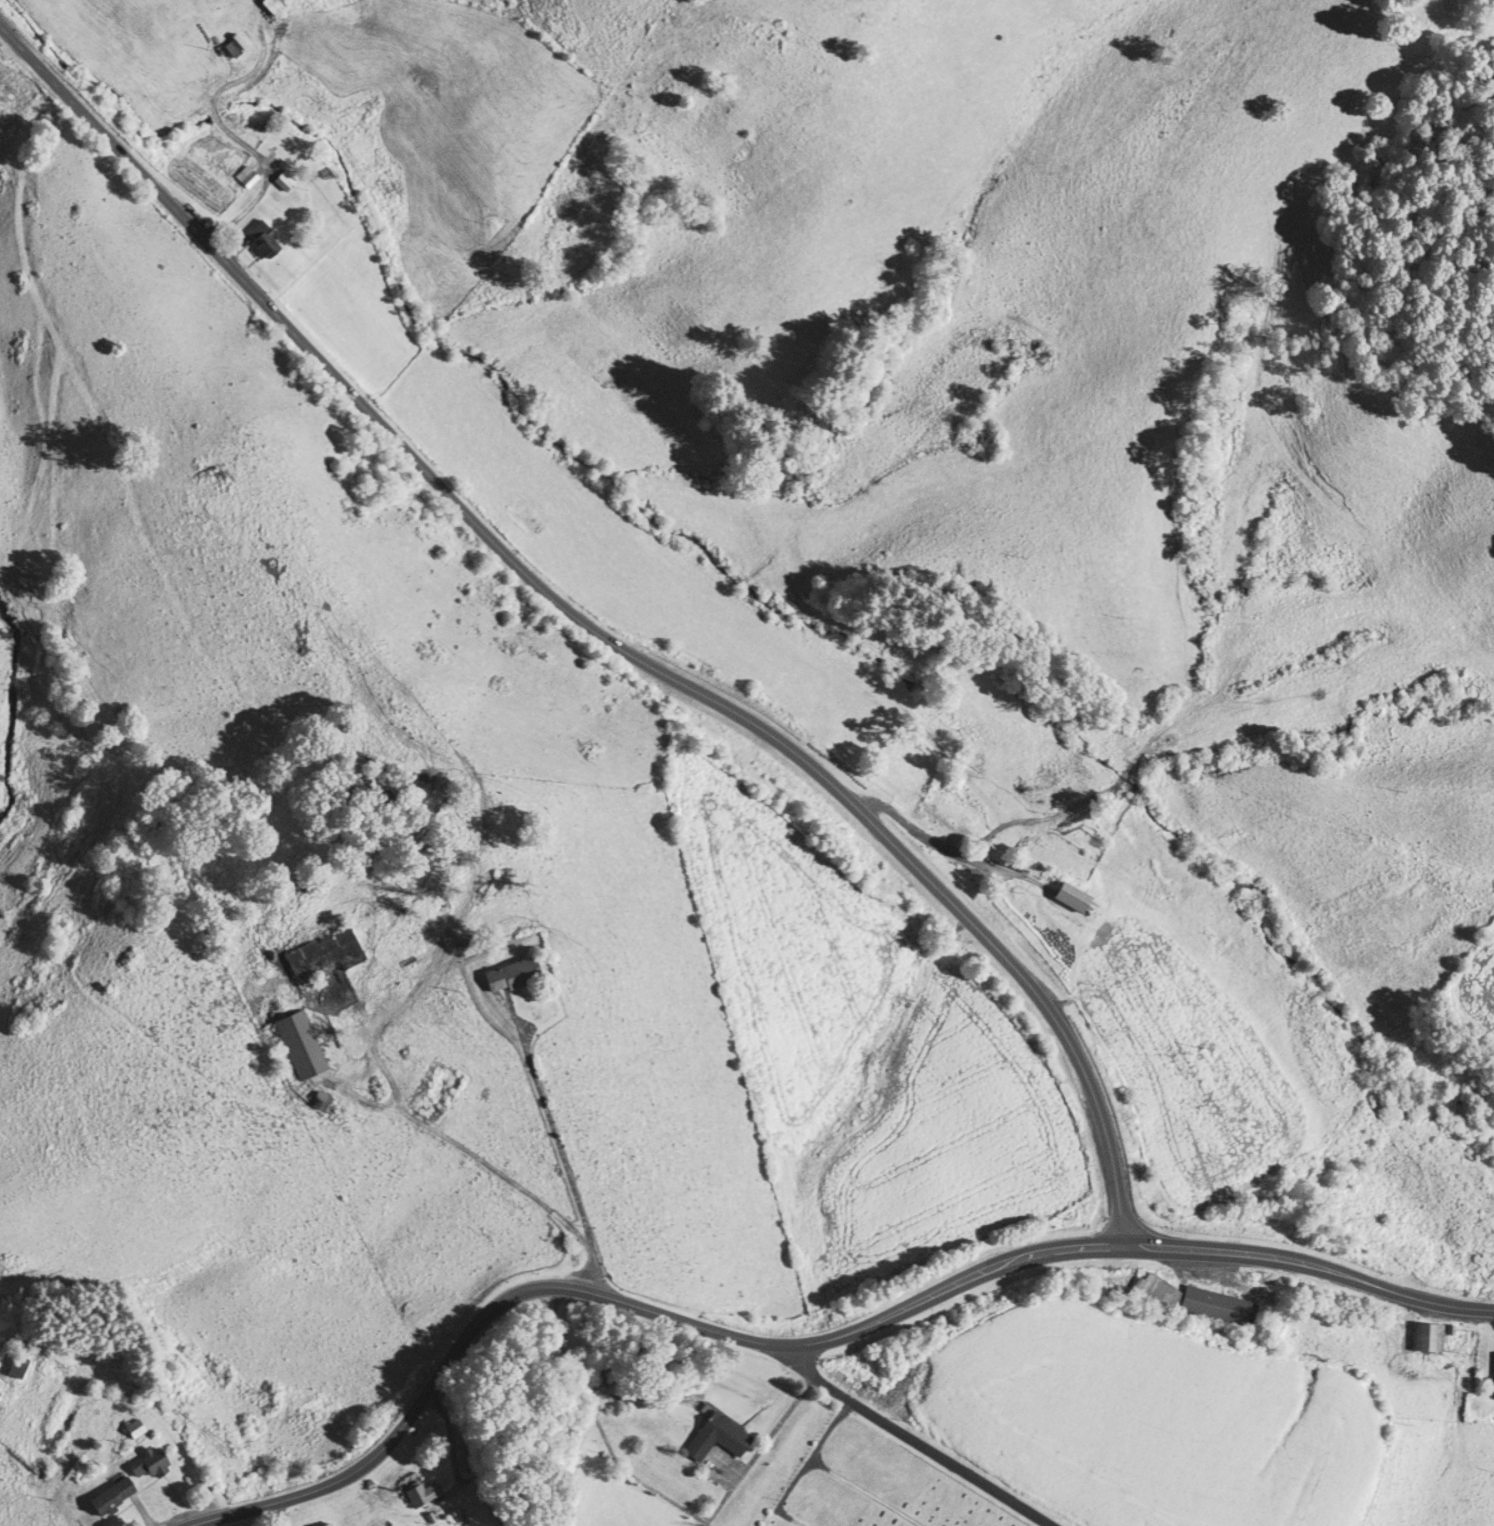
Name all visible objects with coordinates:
building: (269, 5)
building: (241, 174)
building: (279, 179)
building: (259, 239)
road: (589, 627)
building: (949, 805)
building: (1069, 896)
building: (321, 954)
building: (511, 973)
building: (296, 1043)
road: (1280, 1257)
building: (1149, 1294)
road: (617, 1299)
building: (1212, 1306)
road: (1464, 1306)
building: (1424, 1335)
building: (1492, 1361)
building: (15, 1364)
building: (131, 1427)
building: (716, 1435)
road: (910, 1443)
building: (462, 1459)
building: (147, 1462)
building: (419, 1491)
building: (109, 1494)
building: (324, 1524)

